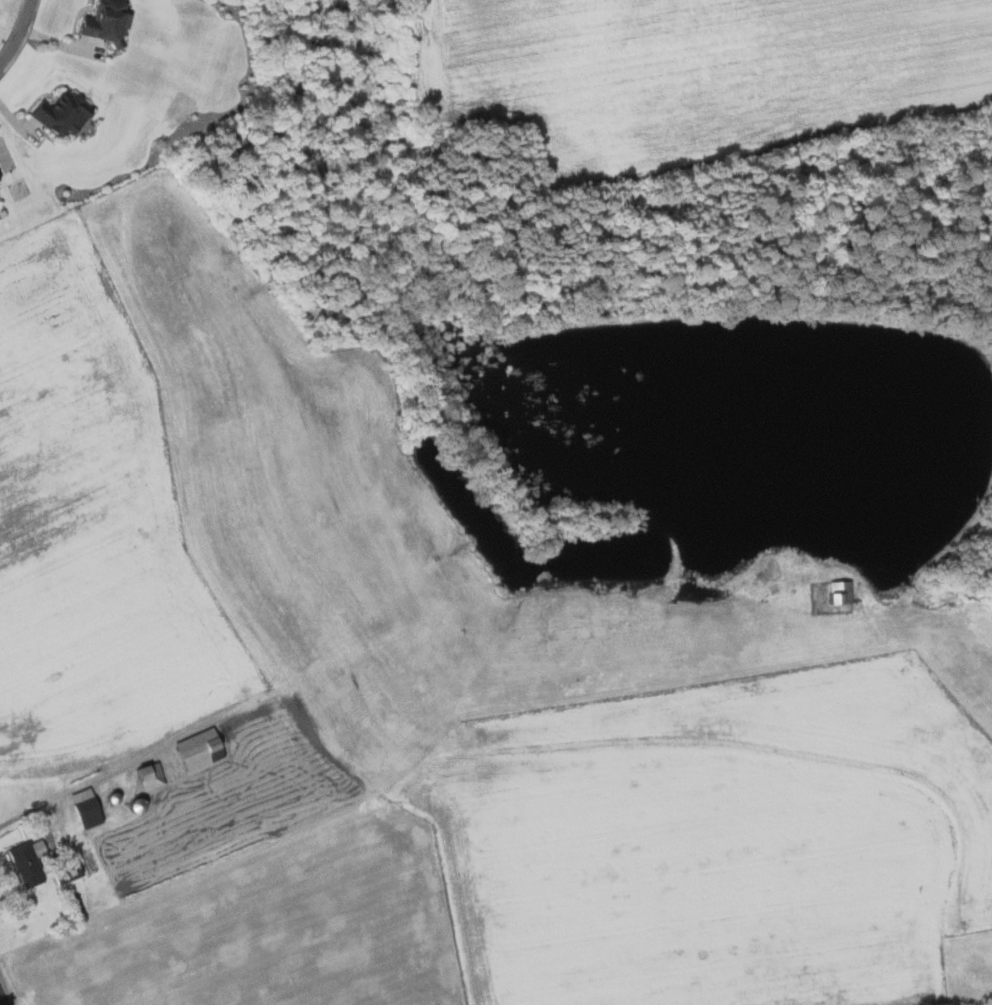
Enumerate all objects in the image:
building: (104, 21)
road: (18, 33)
building: (58, 113)
building: (836, 592)
building: (203, 748)
road: (128, 757)
building: (153, 775)
building: (89, 807)
building: (32, 862)
building: (70, 869)
road: (3, 996)

